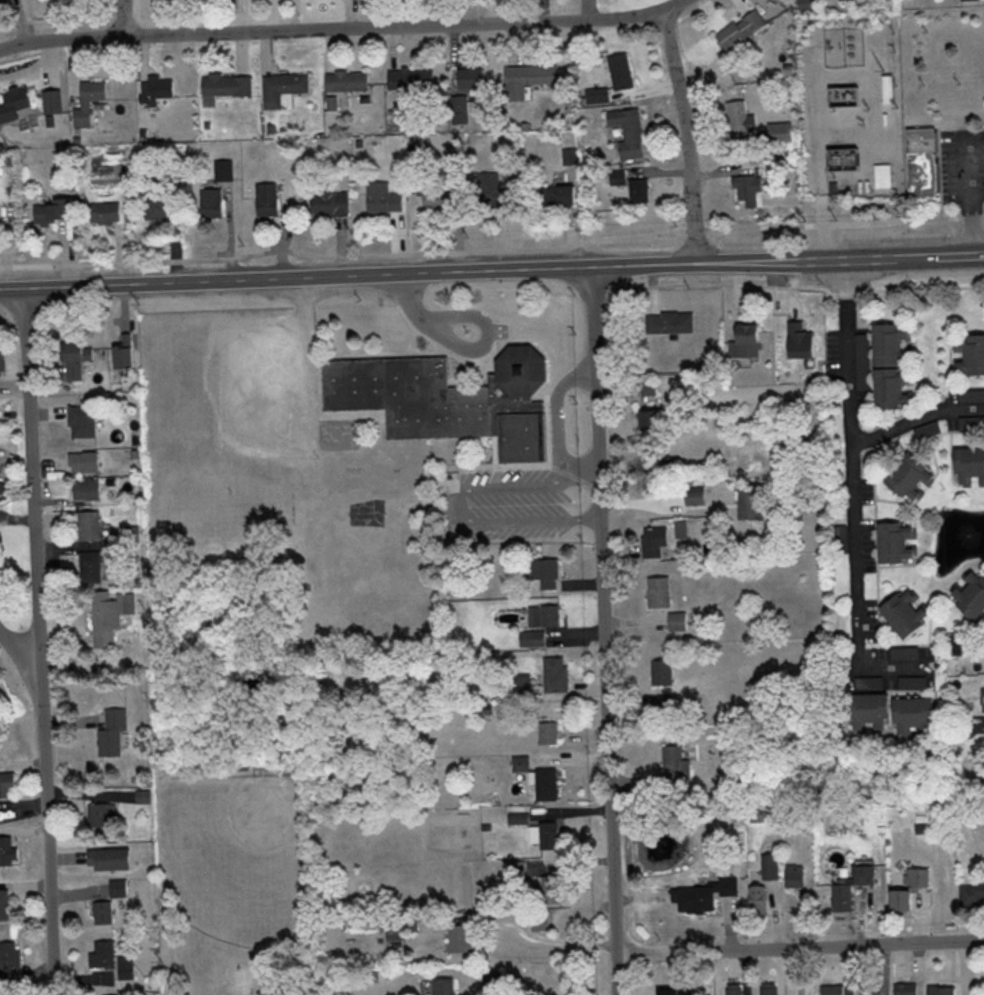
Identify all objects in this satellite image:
building: (970, 0)
building: (4, 1)
road: (123, 18)
road: (342, 29)
building: (741, 30)
building: (621, 72)
building: (474, 79)
building: (528, 79)
building: (348, 81)
building: (409, 82)
building: (228, 85)
building: (157, 89)
building: (284, 89)
building: (888, 89)
building: (598, 95)
building: (54, 101)
building: (89, 101)
power substation: (851, 102)
building: (14, 103)
building: (461, 109)
building: (740, 119)
building: (629, 132)
building: (781, 132)
road: (687, 136)
building: (924, 141)
building: (845, 157)
building: (224, 169)
building: (883, 175)
building: (619, 176)
building: (925, 176)
building: (748, 189)
building: (493, 191)
building: (640, 191)
road: (971, 195)
building: (557, 196)
building: (383, 198)
building: (268, 199)
building: (439, 199)
building: (212, 202)
building: (330, 202)
building: (158, 204)
building: (55, 212)
building: (105, 213)
road: (960, 256)
road: (468, 270)
building: (670, 321)
building: (750, 339)
building: (802, 339)
road: (469, 348)
building: (77, 351)
building: (2, 353)
building: (970, 353)
building: (125, 356)
road: (305, 359)
building: (894, 365)
building: (450, 399)
road: (916, 419)
building: (83, 421)
building: (652, 421)
road: (556, 423)
building: (84, 461)
road: (852, 464)
building: (970, 465)
building: (913, 476)
building: (87, 488)
building: (752, 501)
road: (457, 515)
building: (88, 525)
building: (655, 540)
building: (899, 541)
building: (90, 566)
building: (547, 572)
building: (659, 591)
building: (971, 594)
building: (907, 612)
building: (110, 613)
building: (552, 615)
building: (678, 621)
road: (604, 631)
building: (539, 638)
road: (38, 641)
building: (958, 645)
road: (17, 652)
road: (893, 669)
building: (663, 672)
building: (558, 674)
building: (894, 712)
building: (112, 732)
building: (549, 732)
building: (522, 763)
building: (677, 764)
building: (8, 784)
building: (548, 784)
building: (143, 796)
park: (229, 812)
building: (101, 815)
building: (547, 835)
building: (8, 851)
building: (109, 859)
park: (226, 859)
building: (771, 867)
building: (796, 875)
building: (853, 886)
building: (117, 888)
building: (911, 888)
building: (552, 889)
building: (973, 894)
building: (703, 895)
building: (760, 899)
building: (4, 905)
building: (102, 913)
building: (540, 921)
building: (462, 939)
road: (559, 940)
road: (799, 947)
building: (103, 955)
building: (9, 961)
building: (126, 967)
park: (238, 978)
building: (492, 981)
building: (444, 986)
building: (736, 987)
building: (770, 989)
building: (875, 989)
building: (907, 989)
building: (835, 990)
building: (942, 990)

